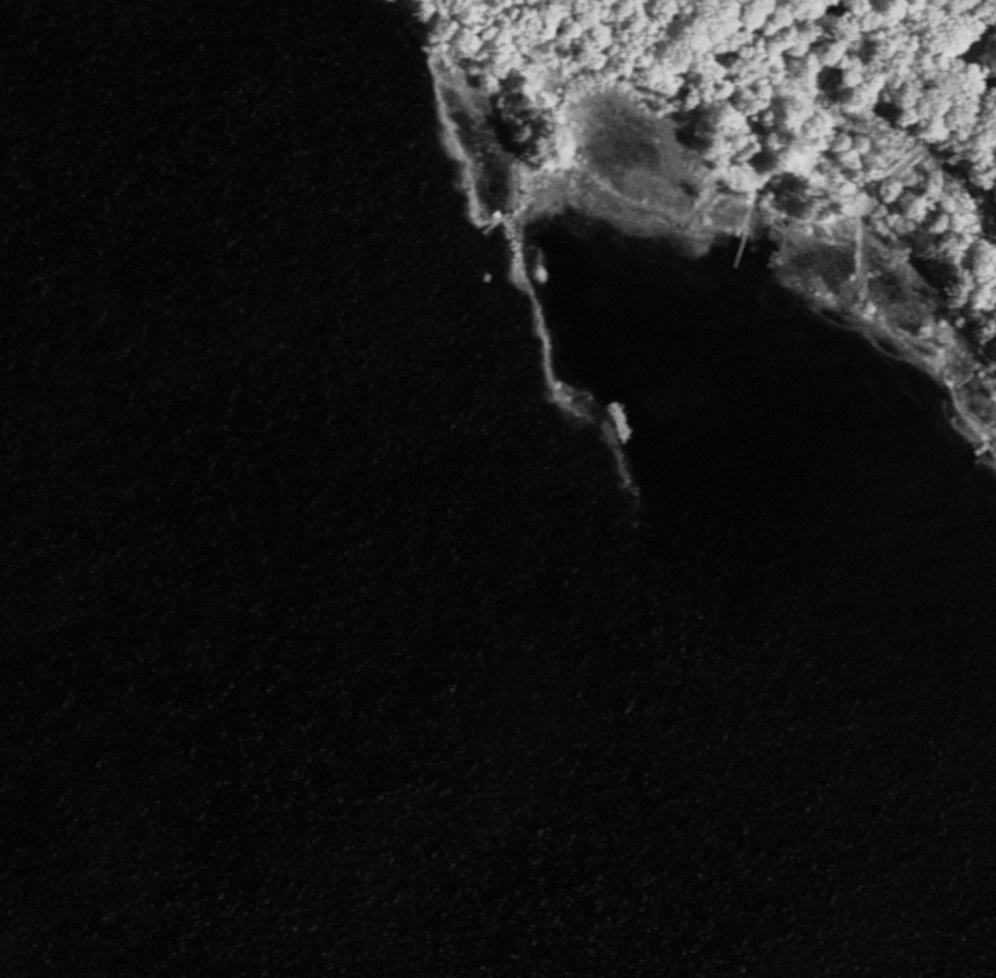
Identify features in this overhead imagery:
road: (980, 25)
building: (977, 91)

